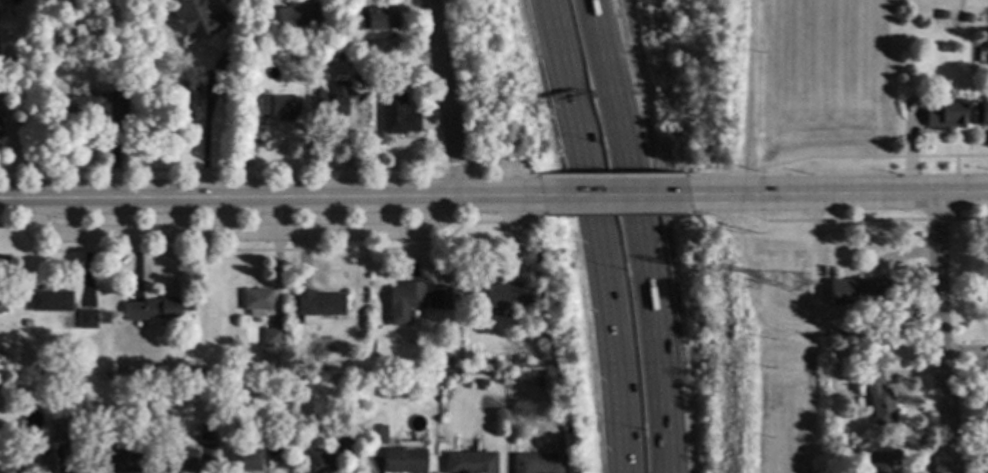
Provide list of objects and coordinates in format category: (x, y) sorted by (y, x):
building: (942, 16)
building: (197, 18)
building: (293, 18)
building: (374, 20)
building: (246, 42)
building: (943, 48)
building: (271, 53)
building: (345, 55)
building: (127, 65)
building: (227, 66)
building: (226, 79)
road: (450, 96)
road: (748, 97)
building: (330, 100)
building: (187, 102)
building: (88, 104)
building: (279, 108)
building: (944, 114)
building: (398, 116)
building: (982, 116)
road: (205, 136)
road: (353, 141)
road: (876, 192)
road: (617, 194)
road: (726, 194)
road: (273, 197)
road: (955, 205)
road: (972, 219)
road: (805, 221)
road: (235, 233)
road: (593, 234)
road: (649, 234)
power tower: (752, 282)
power tower: (802, 290)
building: (857, 291)
building: (499, 295)
building: (434, 296)
building: (51, 301)
building: (257, 301)
building: (3, 302)
building: (405, 302)
building: (318, 306)
building: (190, 307)
building: (154, 311)
building: (87, 319)
road: (940, 332)
building: (846, 333)
building: (855, 335)
building: (124, 337)
building: (272, 338)
building: (513, 361)
building: (515, 378)
building: (539, 382)
building: (481, 385)
building: (879, 398)
building: (136, 416)
building: (57, 420)
building: (206, 433)
building: (377, 434)
building: (60, 435)
building: (262, 436)
building: (345, 440)
building: (277, 447)
building: (212, 448)
building: (113, 459)
building: (405, 459)
building: (181, 460)
building: (245, 460)
building: (319, 461)
building: (38, 462)
building: (884, 462)
building: (470, 463)
building: (537, 463)
building: (212, 465)

